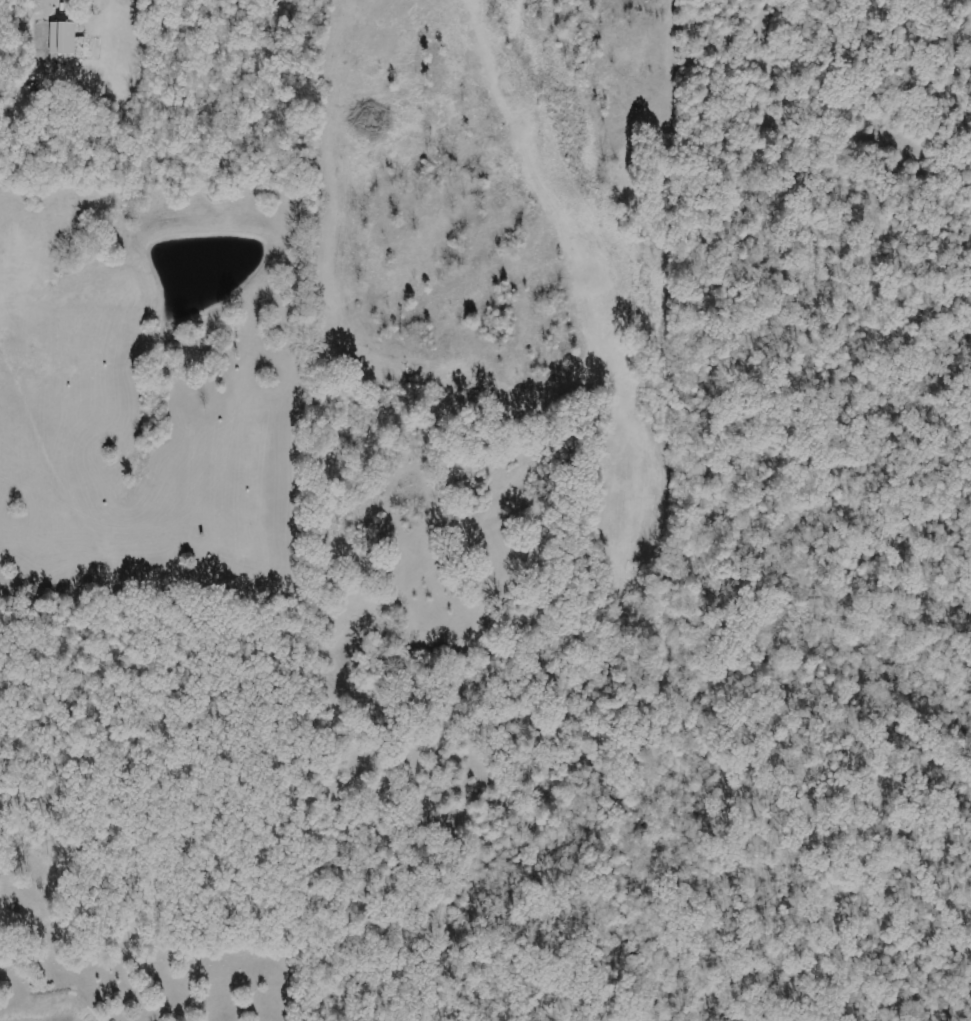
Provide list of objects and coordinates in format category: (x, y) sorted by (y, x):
building: (63, 38)
road: (304, 314)

